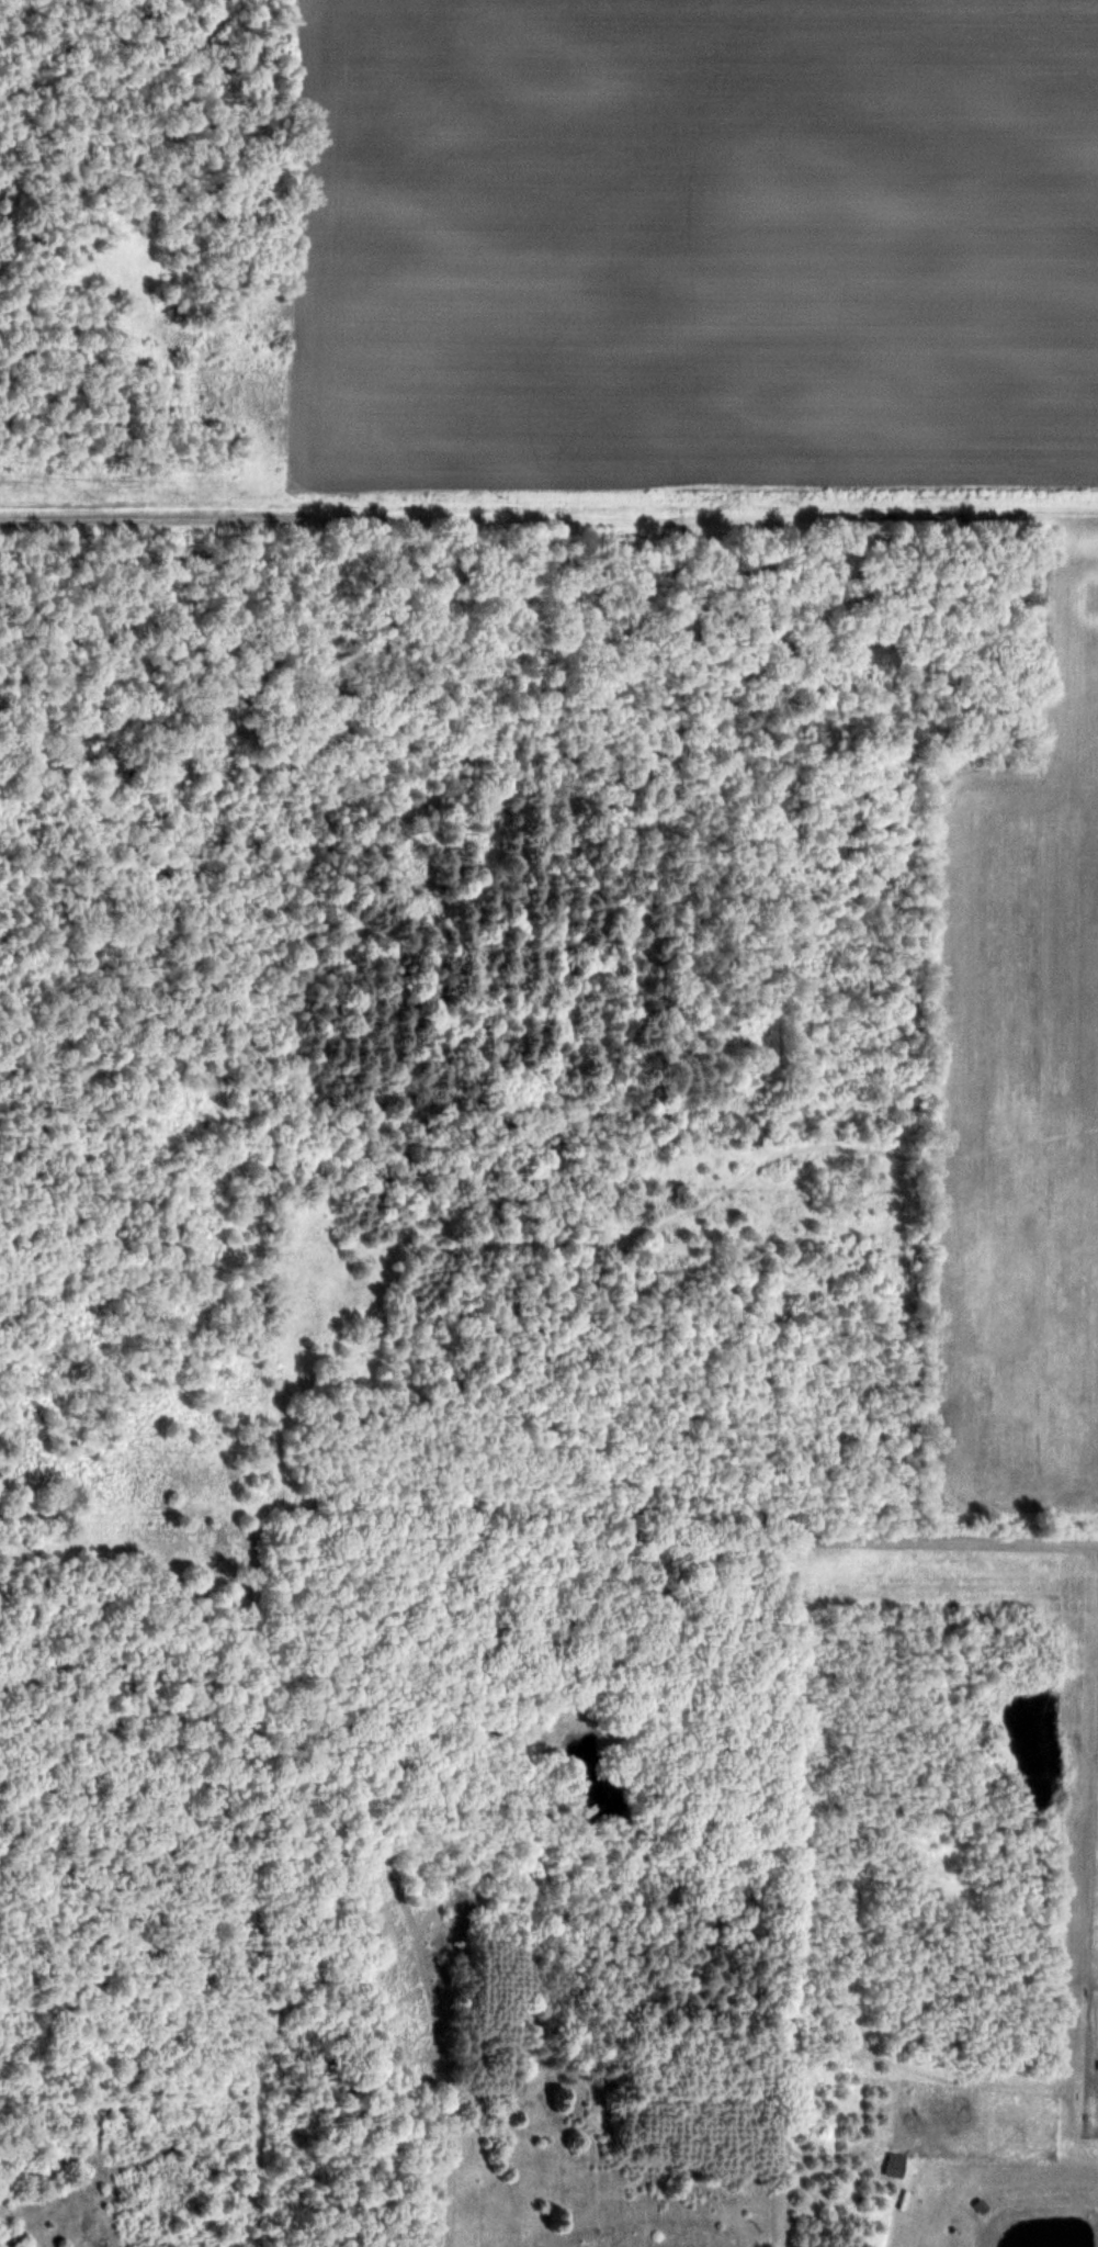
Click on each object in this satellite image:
building: (754, 1133)

